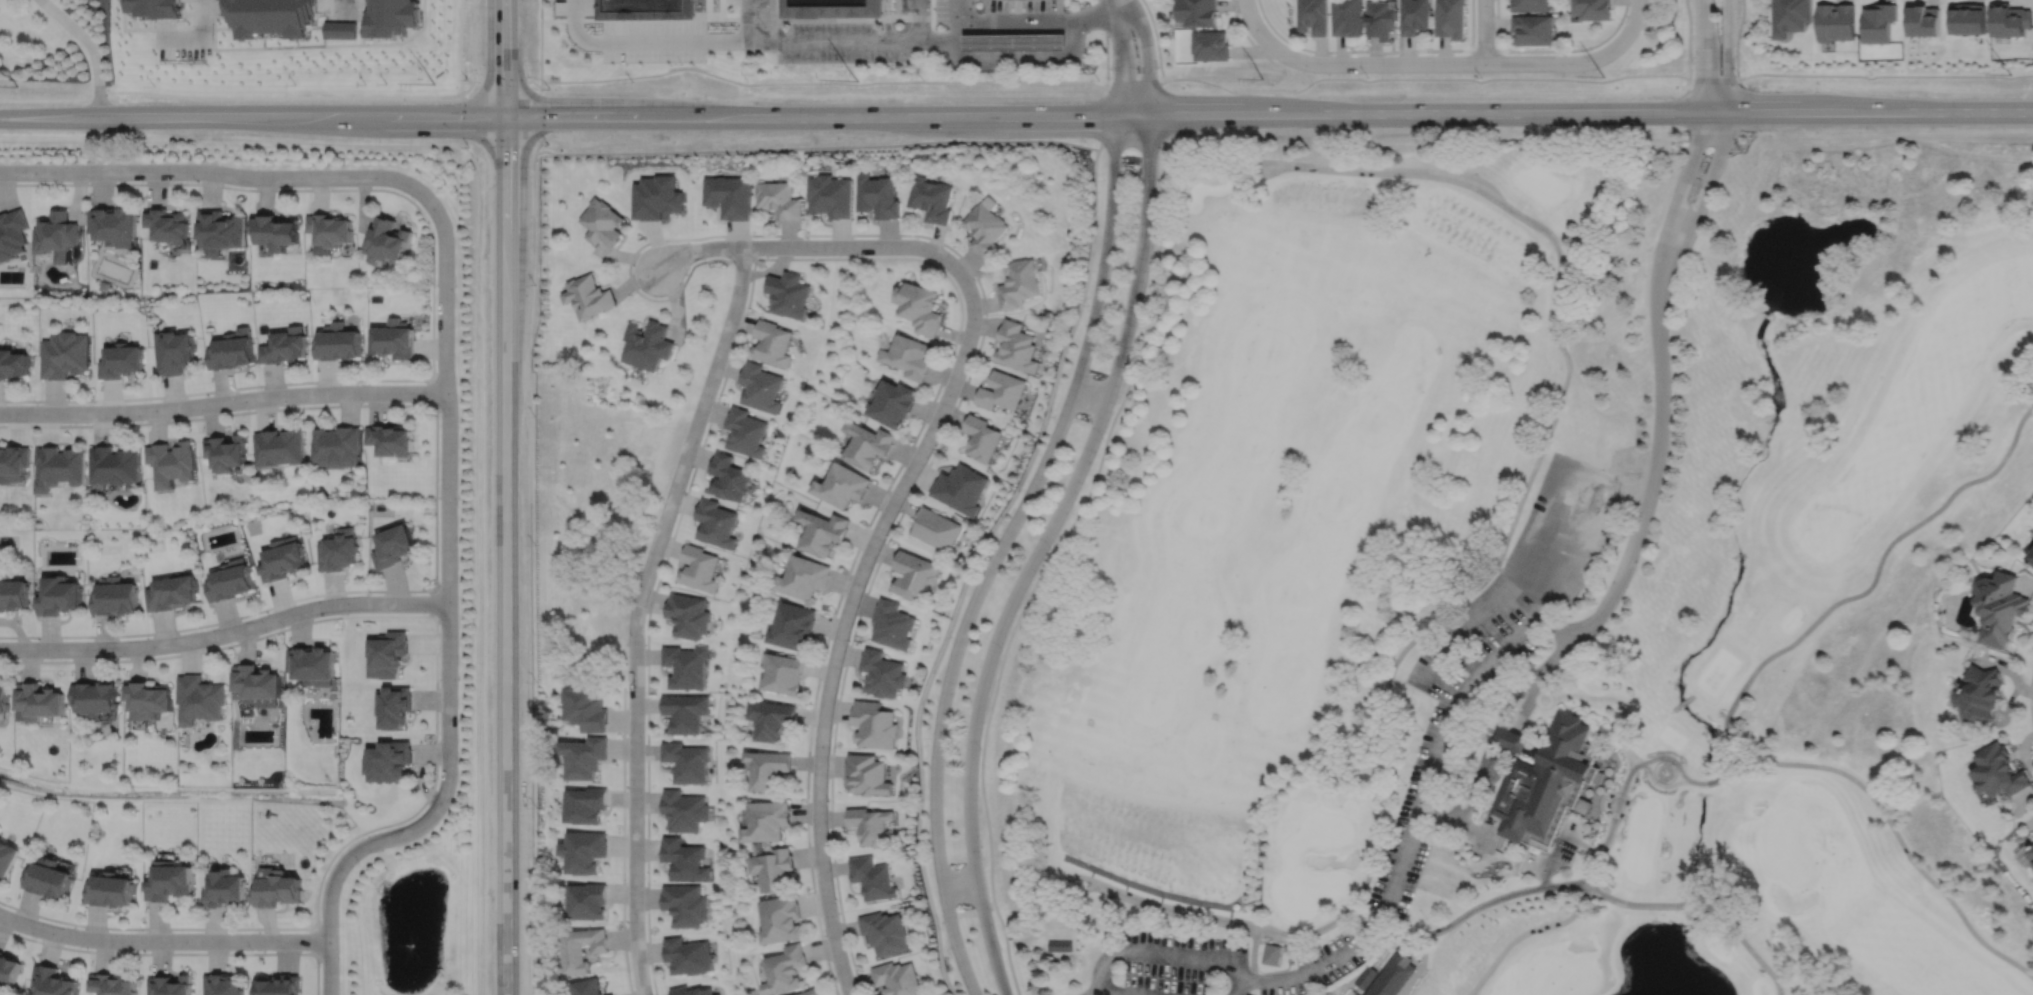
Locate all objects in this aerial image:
building: (1532, 5)
parking lot: (573, 6)
road: (342, 7)
building: (645, 8)
building: (831, 8)
building: (1592, 9)
building: (161, 11)
building: (1198, 12)
building: (1314, 16)
building: (1415, 16)
building: (1790, 16)
building: (1347, 17)
building: (1381, 18)
building: (1450, 18)
building: (1969, 18)
building: (273, 19)
building: (396, 19)
building: (2010, 19)
road: (1025, 20)
building: (1925, 20)
road: (778, 21)
road: (886, 21)
road: (1633, 21)
building: (1836, 21)
building: (1879, 22)
building: (1535, 28)
road: (1484, 31)
building: (342, 32)
road: (1246, 34)
road: (1688, 38)
road: (1736, 38)
road: (1156, 39)
road: (540, 40)
parking lot: (653, 40)
road: (644, 41)
road: (916, 41)
road: (201, 42)
road: (812, 42)
building: (1015, 42)
road: (1106, 44)
building: (1211, 45)
road: (89, 49)
road: (1484, 49)
road: (1551, 49)
road: (1376, 50)
road: (1146, 55)
road: (1119, 56)
road: (1702, 56)
road: (1727, 56)
road: (504, 59)
road: (1015, 61)
road: (1421, 63)
power tower: (2009, 74)
road: (1885, 75)
road: (1425, 77)
power tower: (1603, 77)
road: (523, 79)
power tower: (1264, 79)
road: (1713, 79)
power tower: (856, 81)
road: (823, 82)
power tower: (433, 84)
road: (1137, 85)
power tower: (17, 88)
road: (1269, 113)
road: (537, 115)
road: (49, 118)
road: (302, 118)
road: (1102, 119)
road: (1131, 142)
road: (817, 146)
road: (521, 152)
street lamp: (93, 162)
street lamp: (311, 166)
road: (212, 171)
street lamp: (1103, 179)
street lamp: (195, 180)
street lamp: (1158, 182)
road: (1678, 193)
building: (729, 196)
building: (829, 196)
building: (877, 196)
building: (655, 197)
road: (1702, 197)
building: (931, 199)
street lamp: (415, 200)
building: (777, 200)
building: (602, 222)
building: (169, 225)
building: (116, 227)
building: (985, 227)
building: (331, 229)
building: (222, 231)
building: (278, 232)
building: (13, 235)
building: (57, 235)
street lamp: (917, 237)
building: (388, 241)
road: (836, 246)
street lamp: (703, 258)
road: (854, 258)
building: (1018, 284)
building: (106, 286)
street lamp: (454, 292)
road: (432, 294)
building: (788, 295)
building: (588, 297)
street lamp: (1088, 304)
building: (920, 308)
street lamp: (1139, 315)
building: (394, 339)
building: (337, 343)
building: (649, 344)
building: (772, 344)
building: (1016, 346)
building: (287, 347)
building: (233, 351)
building: (175, 353)
building: (64, 355)
building: (909, 356)
building: (121, 362)
building: (13, 366)
road: (967, 377)
building: (762, 385)
street lamp: (261, 388)
building: (1002, 389)
road: (433, 390)
road: (1090, 393)
street lamp: (363, 401)
building: (894, 401)
road: (223, 402)
street lamp: (37, 403)
street lamp: (439, 414)
street lamp: (1055, 414)
street lamp: (142, 420)
building: (747, 430)
building: (982, 436)
building: (391, 437)
street lamp: (1102, 437)
building: (868, 442)
street lamp: (936, 443)
building: (337, 444)
building: (281, 445)
road: (1541, 447)
building: (228, 450)
building: (14, 461)
building: (173, 461)
building: (116, 464)
building: (61, 466)
road: (1654, 469)
street lamp: (669, 476)
building: (730, 476)
building: (843, 483)
building: (961, 486)
road: (435, 499)
road: (1064, 500)
street lamp: (457, 501)
road: (1025, 502)
park: (1274, 513)
street lamp: (1005, 520)
building: (717, 521)
road: (1547, 521)
building: (935, 527)
building: (823, 530)
building: (392, 542)
street lamp: (1049, 547)
building: (337, 548)
building: (2031, 555)
road: (505, 557)
building: (284, 558)
road: (1044, 564)
building: (699, 566)
road: (972, 567)
park: (1277, 569)
road: (531, 572)
building: (914, 573)
building: (804, 575)
road: (1874, 575)
building: (231, 579)
street lamp: (438, 580)
building: (172, 591)
building: (12, 592)
street lamp: (370, 592)
building: (59, 594)
building: (115, 596)
road: (430, 602)
building: (2001, 605)
road: (637, 612)
building: (689, 614)
road: (448, 621)
building: (893, 623)
building: (793, 624)
street lamp: (283, 626)
road: (1556, 628)
road: (225, 633)
street lamp: (952, 635)
road: (1508, 643)
road: (837, 646)
street lamp: (1001, 650)
building: (386, 653)
street lamp: (127, 657)
street lamp: (14, 658)
road: (1555, 658)
road: (1463, 659)
parking lot: (1485, 661)
building: (313, 664)
building: (686, 665)
road: (1432, 665)
building: (782, 672)
building: (882, 673)
building: (258, 683)
street lamp: (457, 683)
building: (1981, 693)
road: (2030, 695)
building: (4, 698)
building: (96, 698)
building: (150, 699)
building: (202, 699)
building: (39, 701)
road: (1682, 703)
road: (1606, 704)
building: (393, 705)
building: (586, 708)
building: (686, 711)
building: (771, 718)
road: (1495, 722)
building: (873, 724)
road: (1512, 732)
road: (1438, 737)
building: (1510, 738)
road: (435, 741)
street lamp: (929, 743)
street lamp: (980, 747)
road: (1743, 751)
road: (1731, 753)
building: (585, 756)
road: (1663, 756)
building: (387, 760)
building: (687, 761)
building: (767, 768)
road: (1660, 769)
building: (1999, 771)
building: (866, 774)
building: (1544, 777)
street lamp: (438, 778)
road: (1714, 779)
road: (1621, 780)
street lamp: (827, 798)
road: (1467, 801)
building: (587, 805)
road: (1598, 805)
building: (685, 810)
road: (1433, 814)
building: (767, 820)
building: (869, 824)
road: (1492, 827)
road: (1465, 828)
road: (1897, 837)
road: (623, 840)
road: (1602, 842)
road: (1484, 846)
building: (585, 851)
building: (2031, 852)
street lamp: (983, 857)
building: (7, 858)
building: (685, 859)
street lamp: (930, 860)
street lamp: (359, 861)
road: (1549, 867)
building: (774, 869)
building: (872, 878)
building: (49, 879)
building: (171, 881)
road: (959, 884)
road: (1064, 886)
building: (226, 889)
building: (278, 889)
building: (111, 891)
building: (589, 901)
building: (686, 904)
road: (1704, 905)
road: (1465, 913)
building: (781, 919)
road: (1228, 920)
street lamp: (143, 931)
building: (884, 932)
road: (1523, 932)
road: (1365, 935)
street lamp: (35, 937)
road: (989, 938)
road: (162, 940)
road: (315, 940)
road: (955, 942)
building: (1062, 944)
street lamp: (1001, 947)
building: (583, 949)
street lamp: (251, 950)
road: (175, 953)
building: (1272, 953)
road: (1192, 955)
building: (688, 956)
street lamp: (951, 956)
parking lot: (1183, 964)
parking lot: (1322, 964)
street lamp: (319, 965)
road: (1102, 966)
building: (9, 970)
building: (786, 970)
building: (1386, 975)
building: (896, 978)
building: (52, 982)
building: (112, 985)
building: (171, 985)
building: (223, 985)
building: (280, 985)
building: (588, 987)
road: (1238, 988)
building: (692, 991)
building: (811, 993)
building: (613, 994)
building: (717, 994)
building: (720, 994)
road: (1111, 994)

